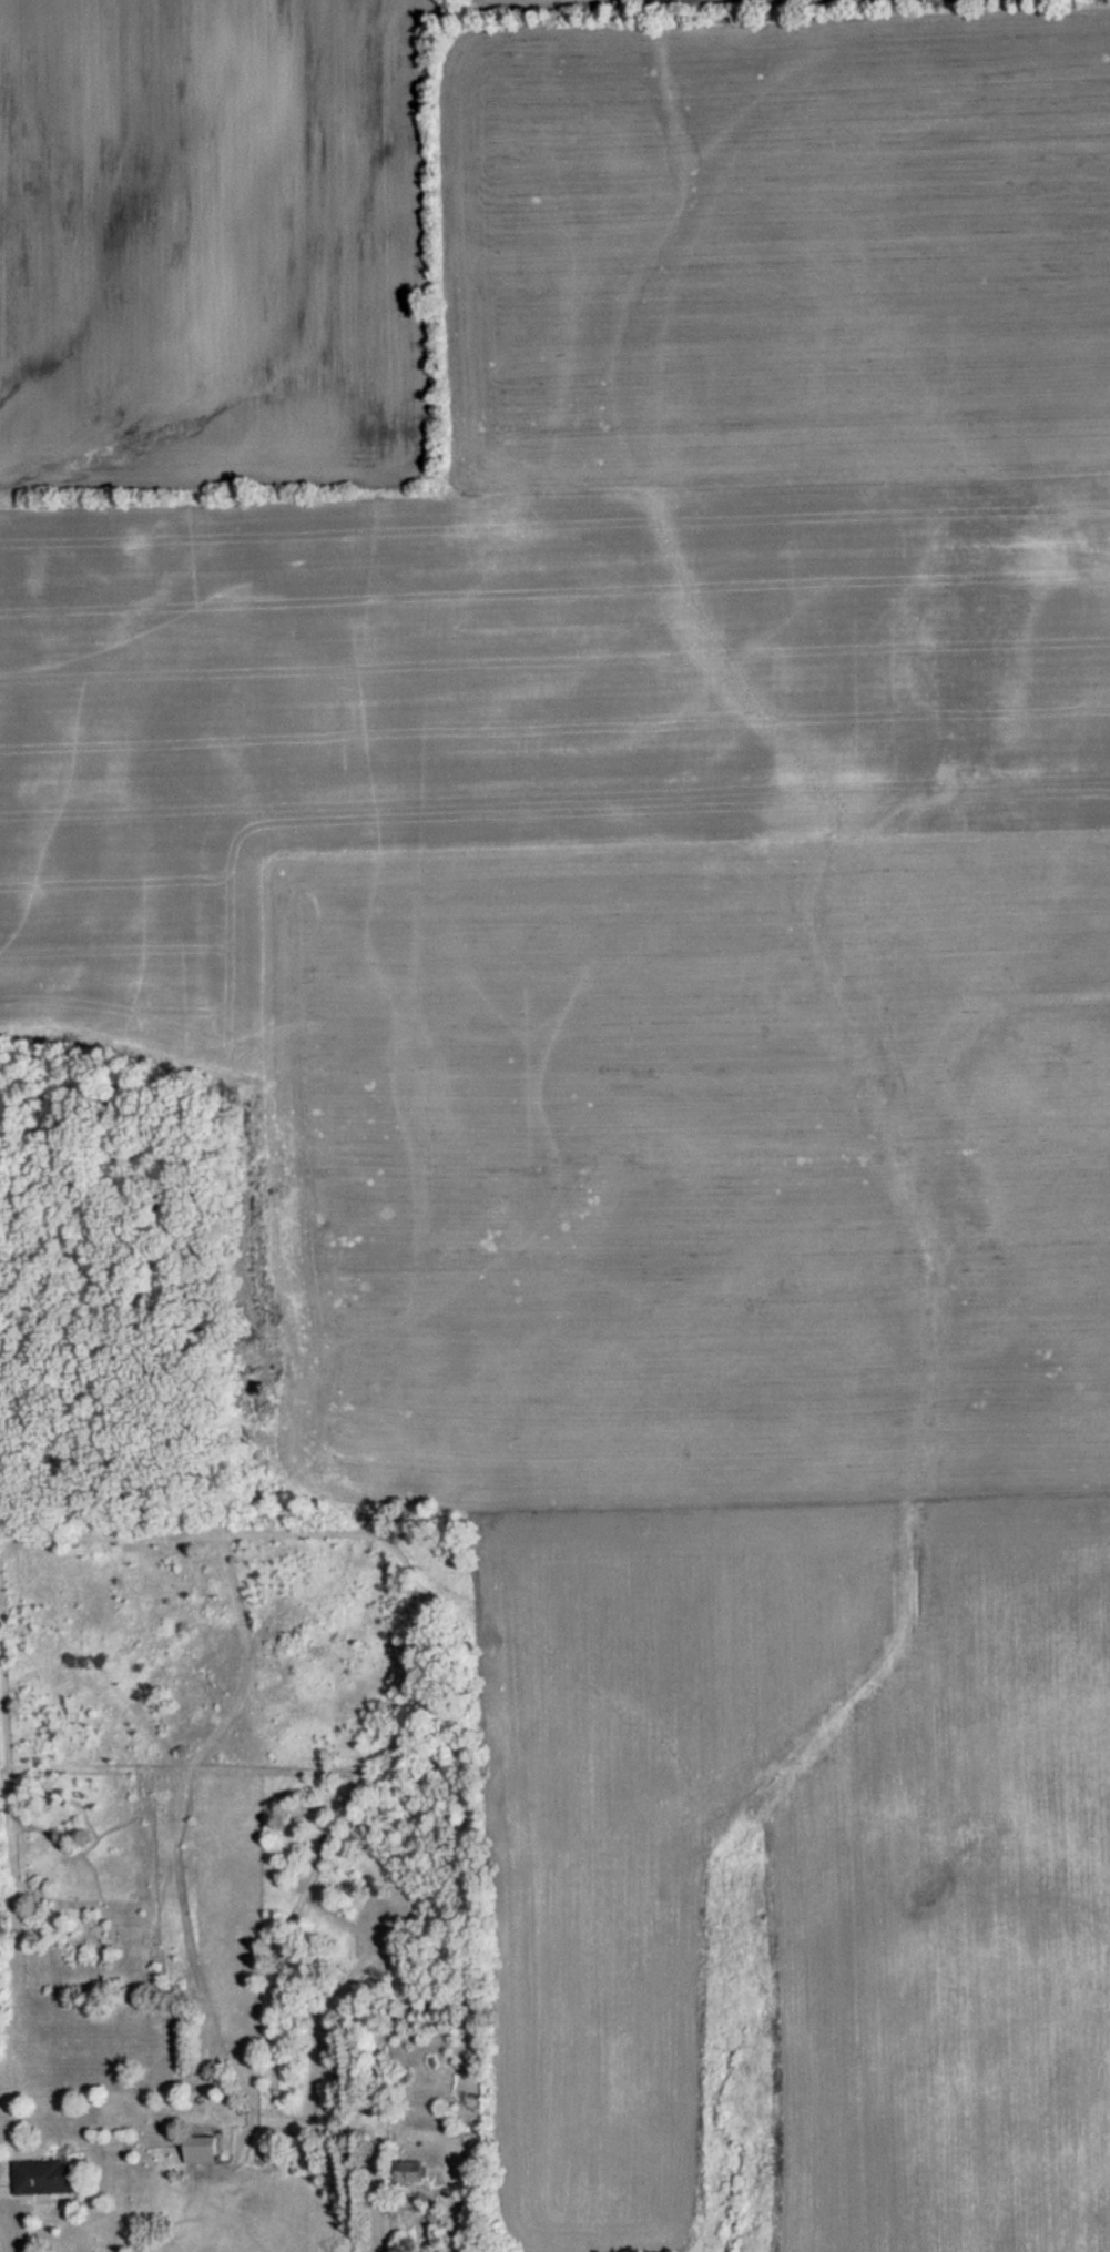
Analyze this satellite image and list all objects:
building: (201, 2148)
building: (408, 2169)
building: (45, 2174)
road: (11, 2243)

